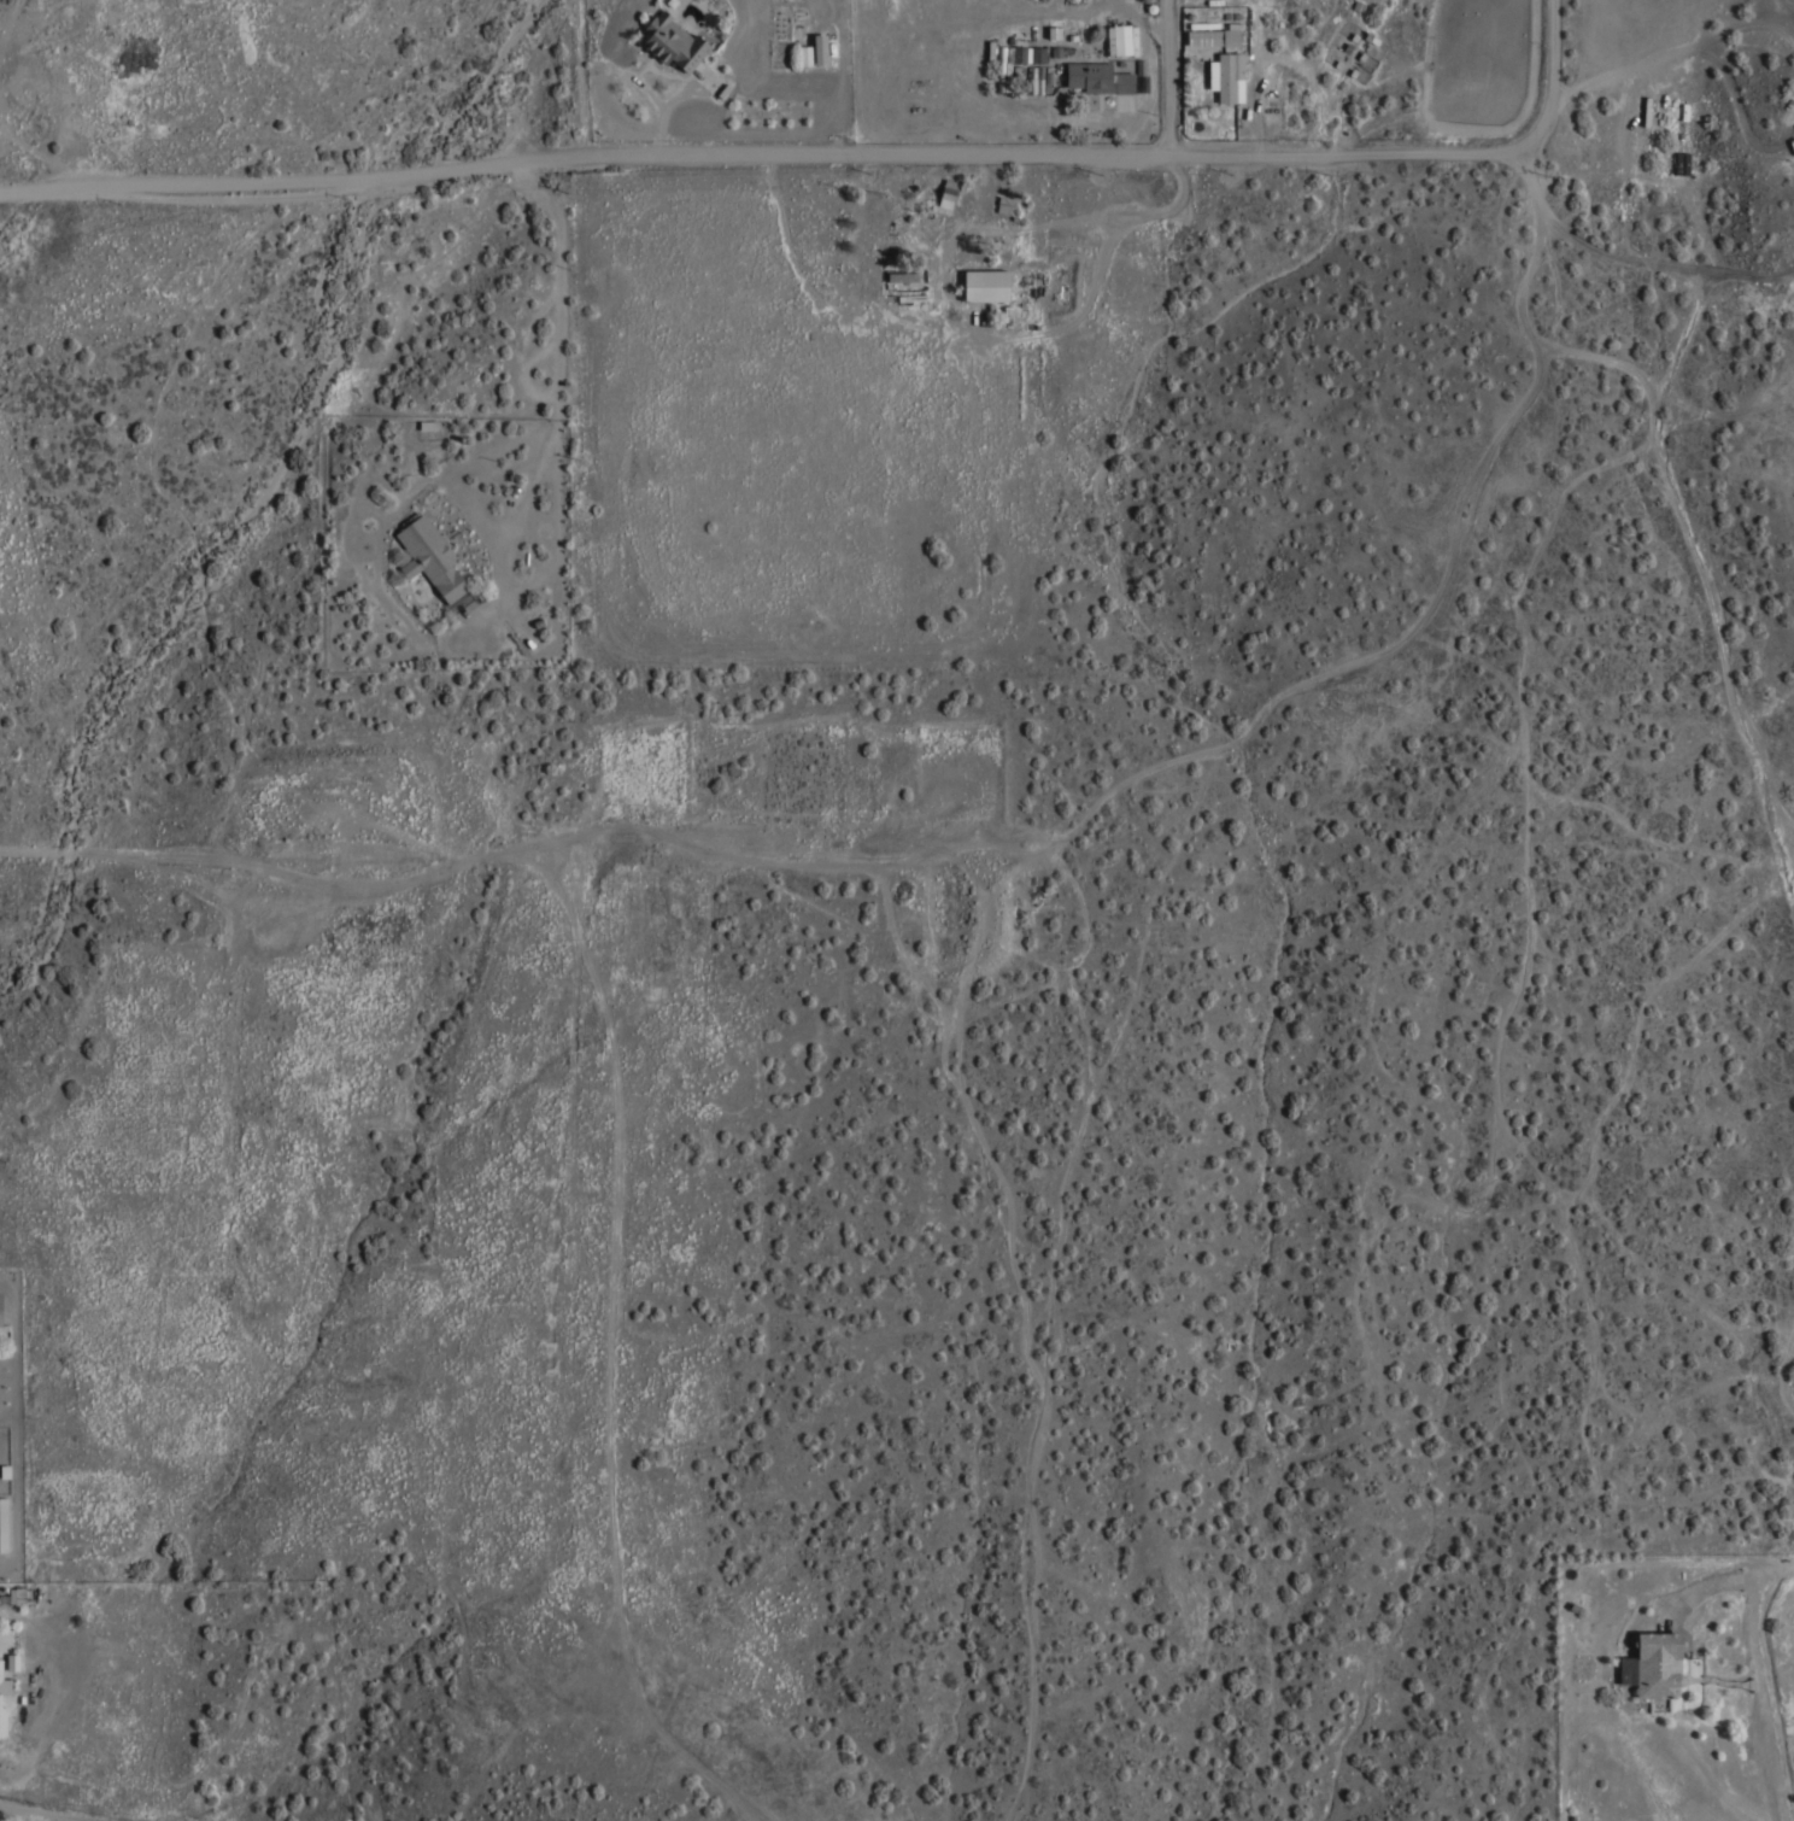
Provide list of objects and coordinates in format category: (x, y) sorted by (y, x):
road: (1741, 28)
building: (1213, 36)
building: (1121, 40)
building: (673, 41)
building: (820, 48)
building: (1038, 53)
building: (805, 54)
building: (1008, 64)
road: (1553, 69)
road: (1619, 71)
building: (1229, 74)
road: (1168, 75)
building: (1098, 77)
road: (661, 116)
road: (1740, 116)
road: (772, 150)
building: (948, 193)
building: (1004, 203)
road: (1628, 257)
building: (902, 277)
building: (986, 285)
road: (552, 429)
building: (430, 556)
road: (46, 849)
building: (0, 1308)
building: (4, 1524)
building: (1658, 1664)
road: (1753, 1679)
building: (4, 1700)
road: (45, 1810)

